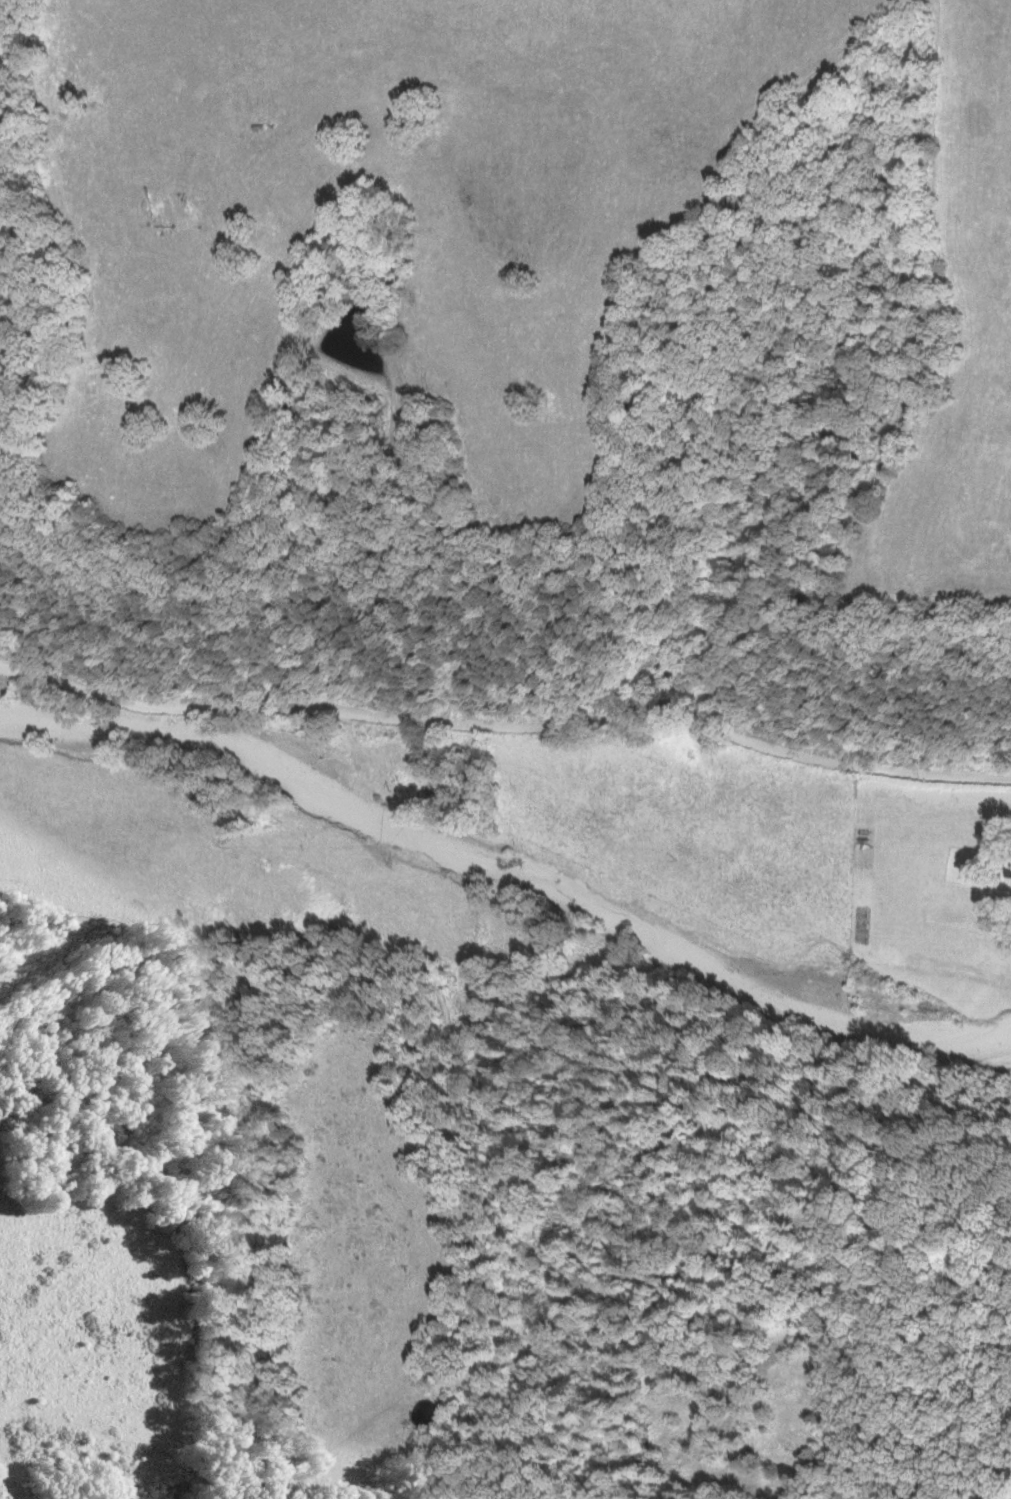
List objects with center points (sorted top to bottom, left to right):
road: (506, 714)
building: (1005, 867)

